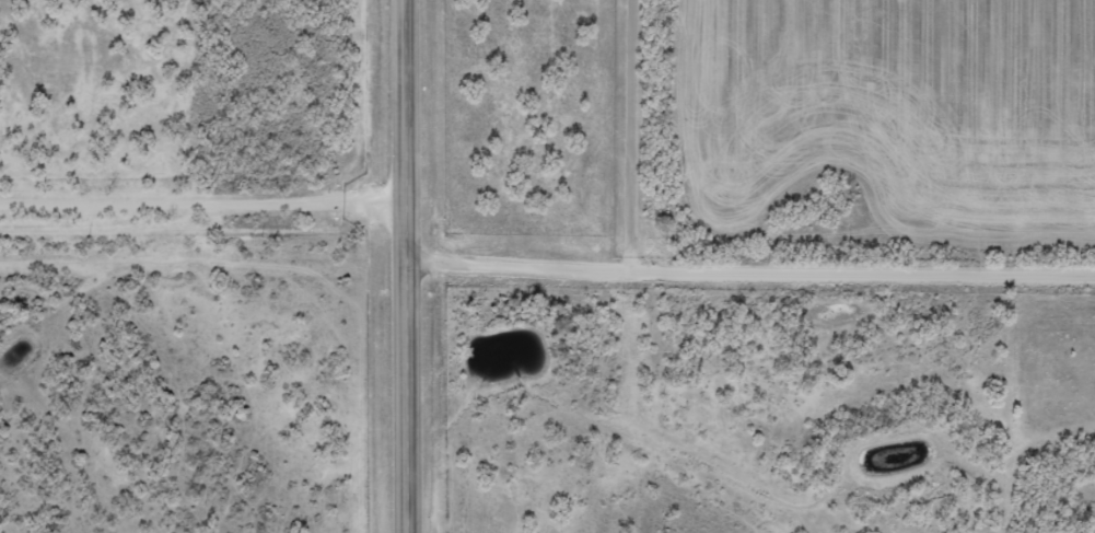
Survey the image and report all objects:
road: (662, 135)
road: (406, 266)
road: (750, 269)
road: (203, 273)

